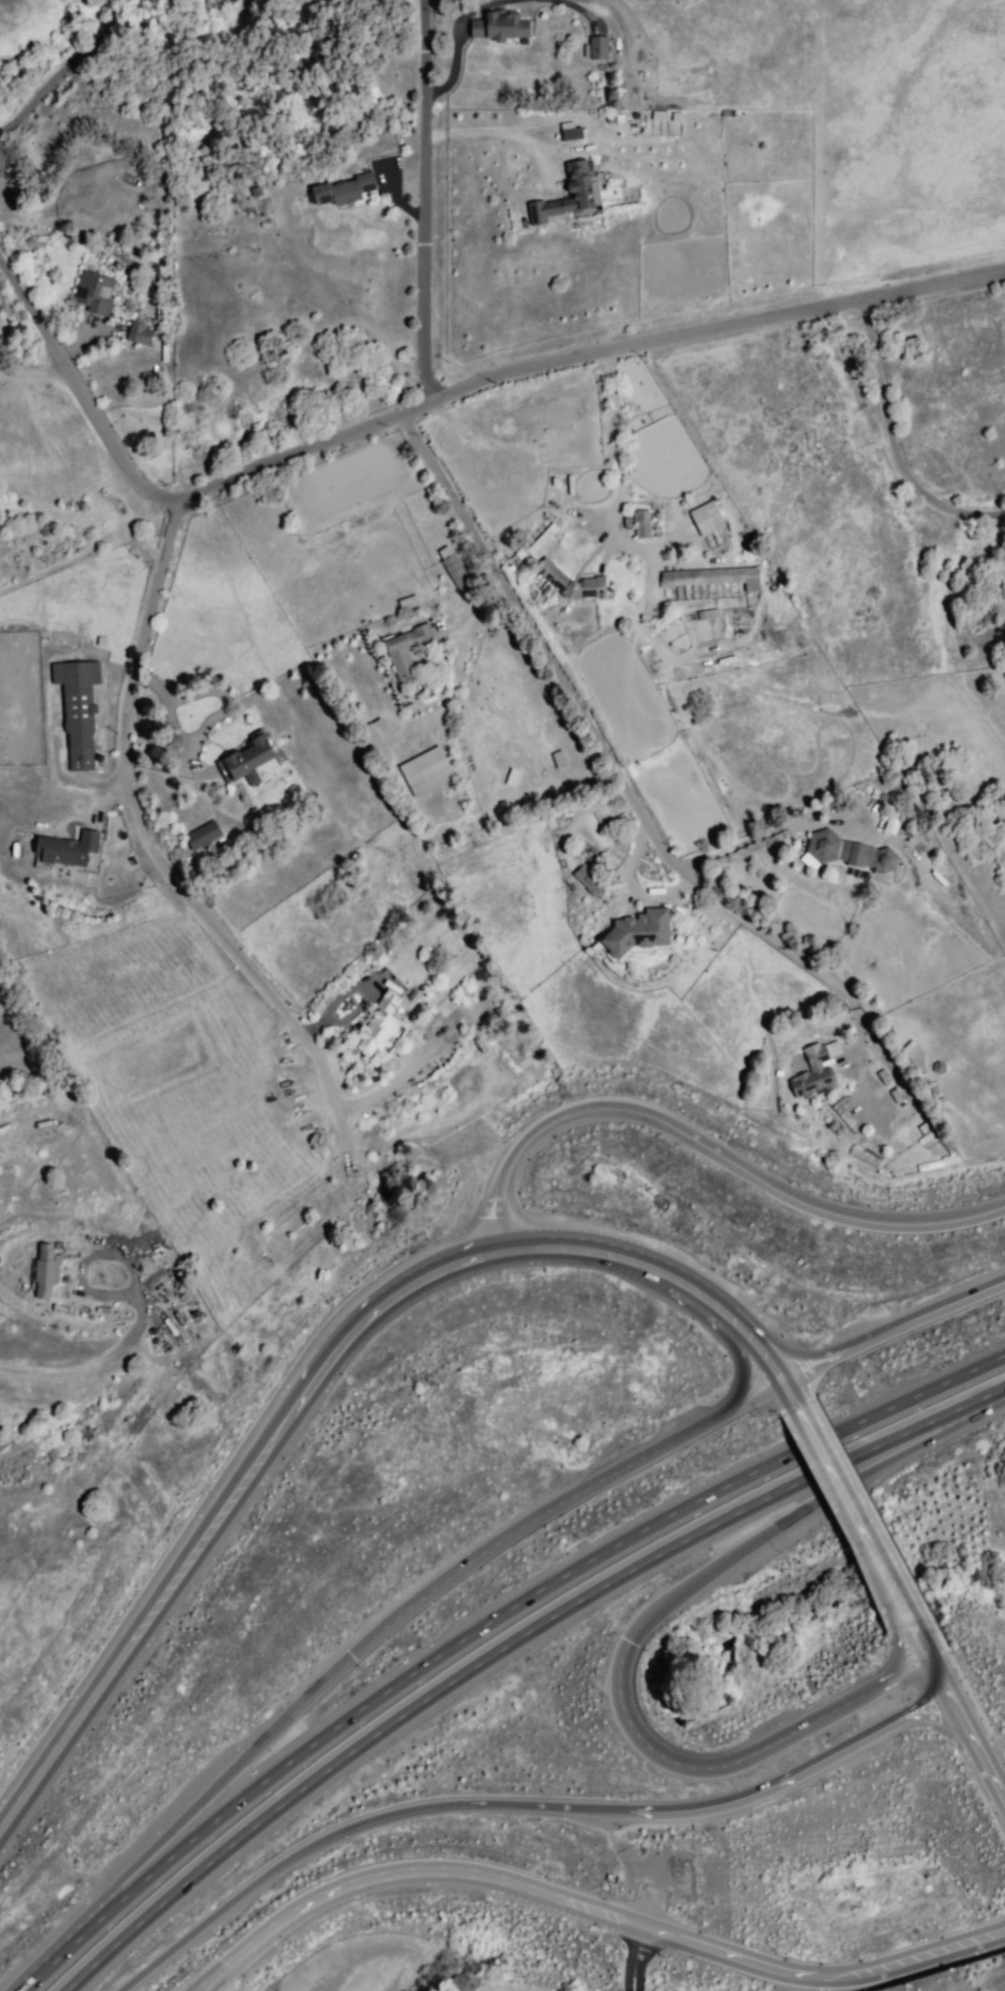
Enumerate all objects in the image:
building: (499, 29)
building: (596, 50)
road: (63, 65)
building: (658, 114)
building: (569, 131)
building: (341, 190)
road: (431, 197)
building: (562, 200)
building: (94, 291)
building: (141, 333)
road: (40, 375)
road: (431, 396)
road: (896, 436)
road: (620, 443)
building: (706, 522)
building: (644, 528)
building: (540, 539)
building: (443, 551)
building: (458, 578)
building: (573, 584)
building: (709, 584)
building: (709, 613)
building: (407, 652)
road: (220, 712)
building: (77, 713)
road: (599, 729)
building: (381, 740)
building: (248, 764)
building: (427, 772)
building: (514, 779)
road: (71, 780)
road: (752, 835)
building: (203, 839)
building: (68, 851)
building: (847, 853)
building: (587, 879)
road: (182, 880)
building: (640, 934)
building: (451, 947)
building: (380, 1034)
building: (812, 1076)
building: (925, 1130)
road: (705, 1157)
building: (49, 1277)
road: (916, 1318)
road: (750, 1319)
road: (734, 1330)
road: (104, 1359)
road: (803, 1367)
road: (273, 1438)
road: (701, 1502)
road: (849, 1515)
road: (699, 1529)
road: (637, 1636)
road: (363, 1638)
road: (927, 1666)
road: (974, 1755)
road: (790, 1774)
road: (215, 1824)
road: (352, 1829)
road: (236, 1841)
road: (587, 1909)
road: (626, 1957)
road: (204, 1989)

